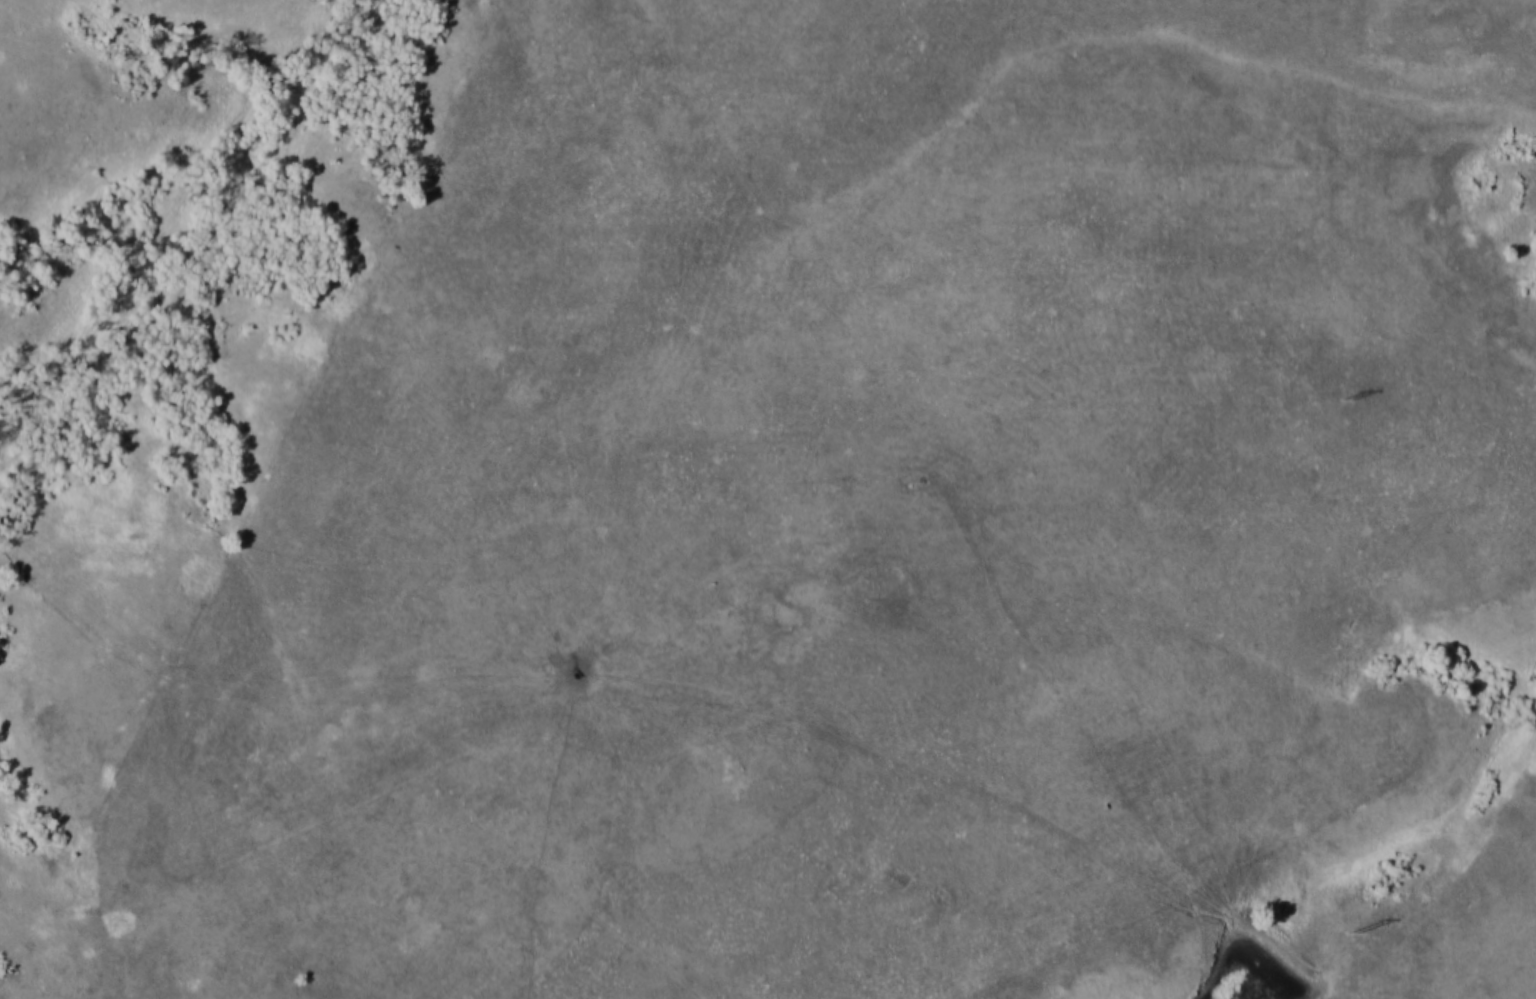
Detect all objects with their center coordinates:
power tower: (1350, 402)
power tower: (1363, 932)

